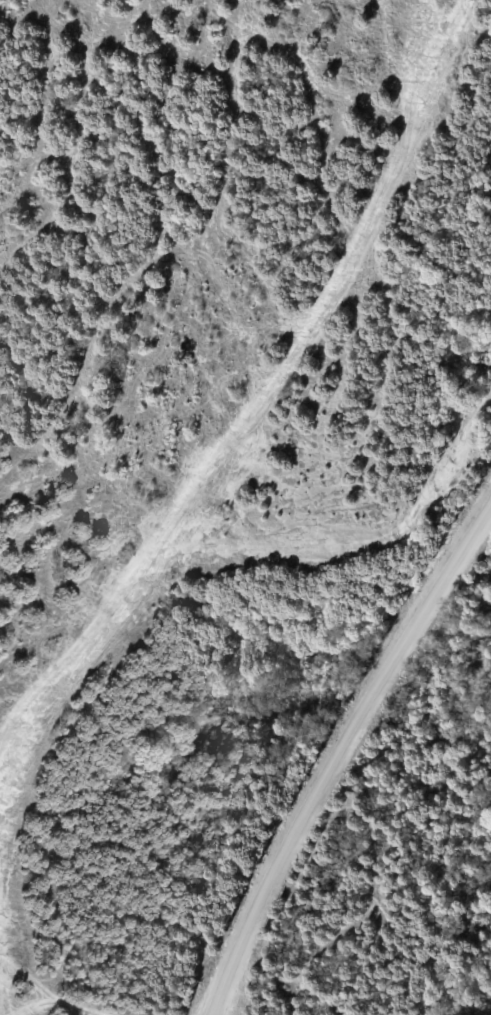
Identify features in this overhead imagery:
road: (234, 445)
road: (338, 751)

